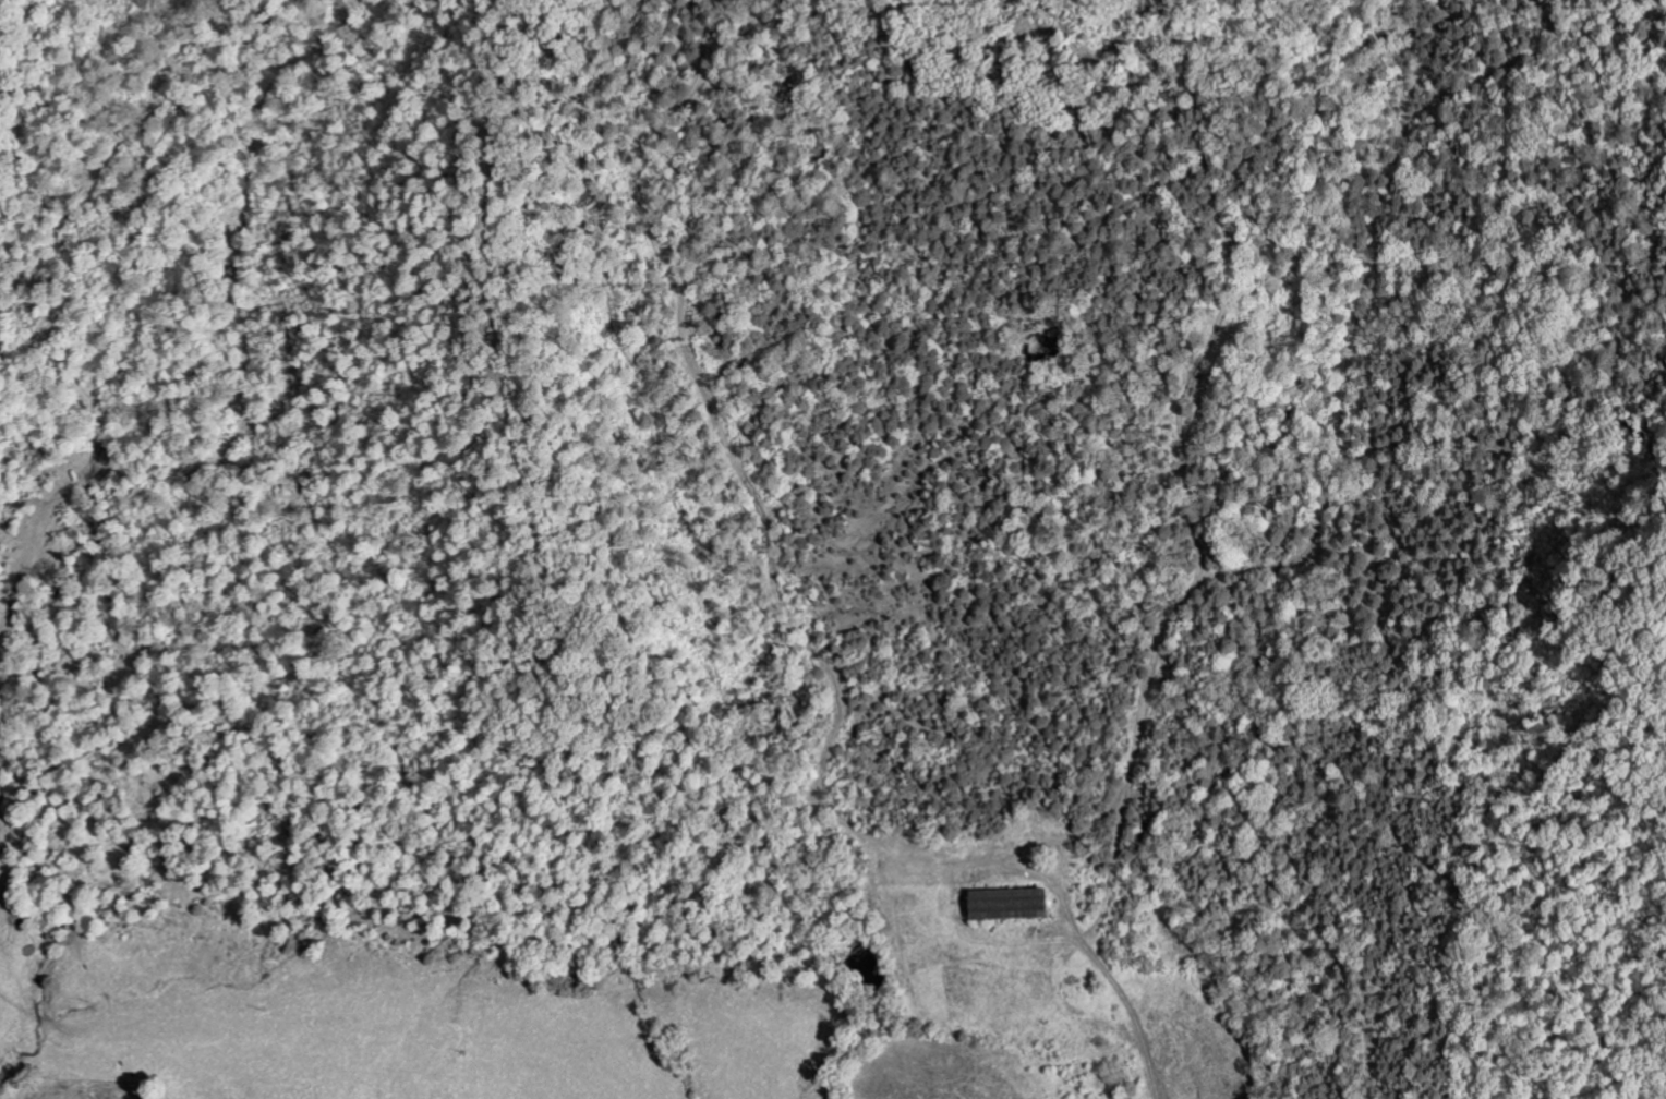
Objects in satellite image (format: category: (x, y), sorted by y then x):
building: (1014, 905)

